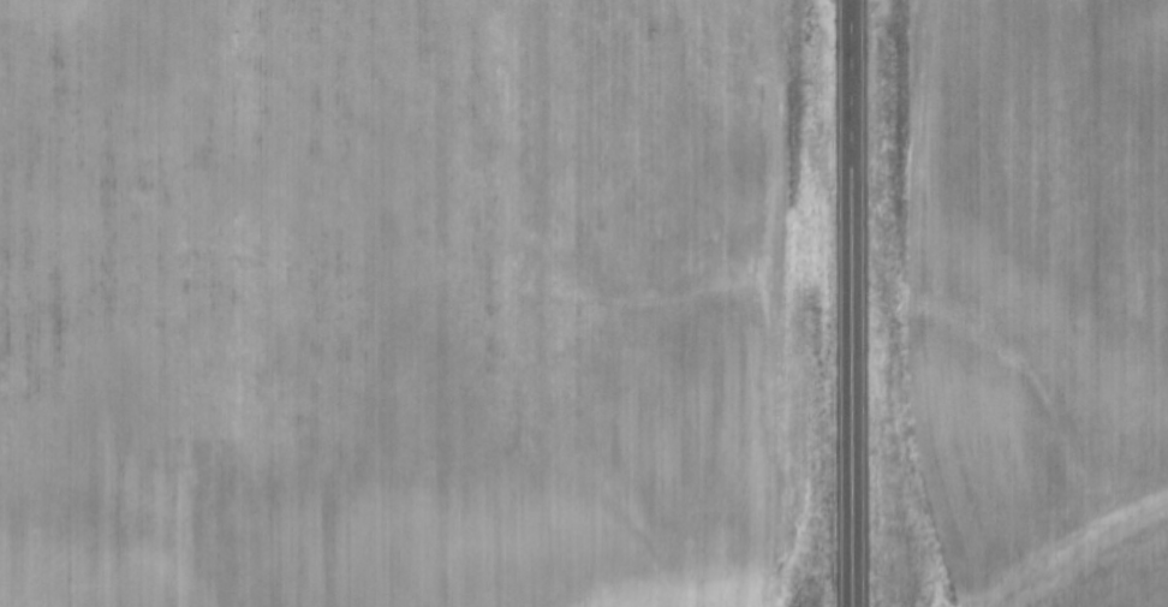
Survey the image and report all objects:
road: (850, 303)

